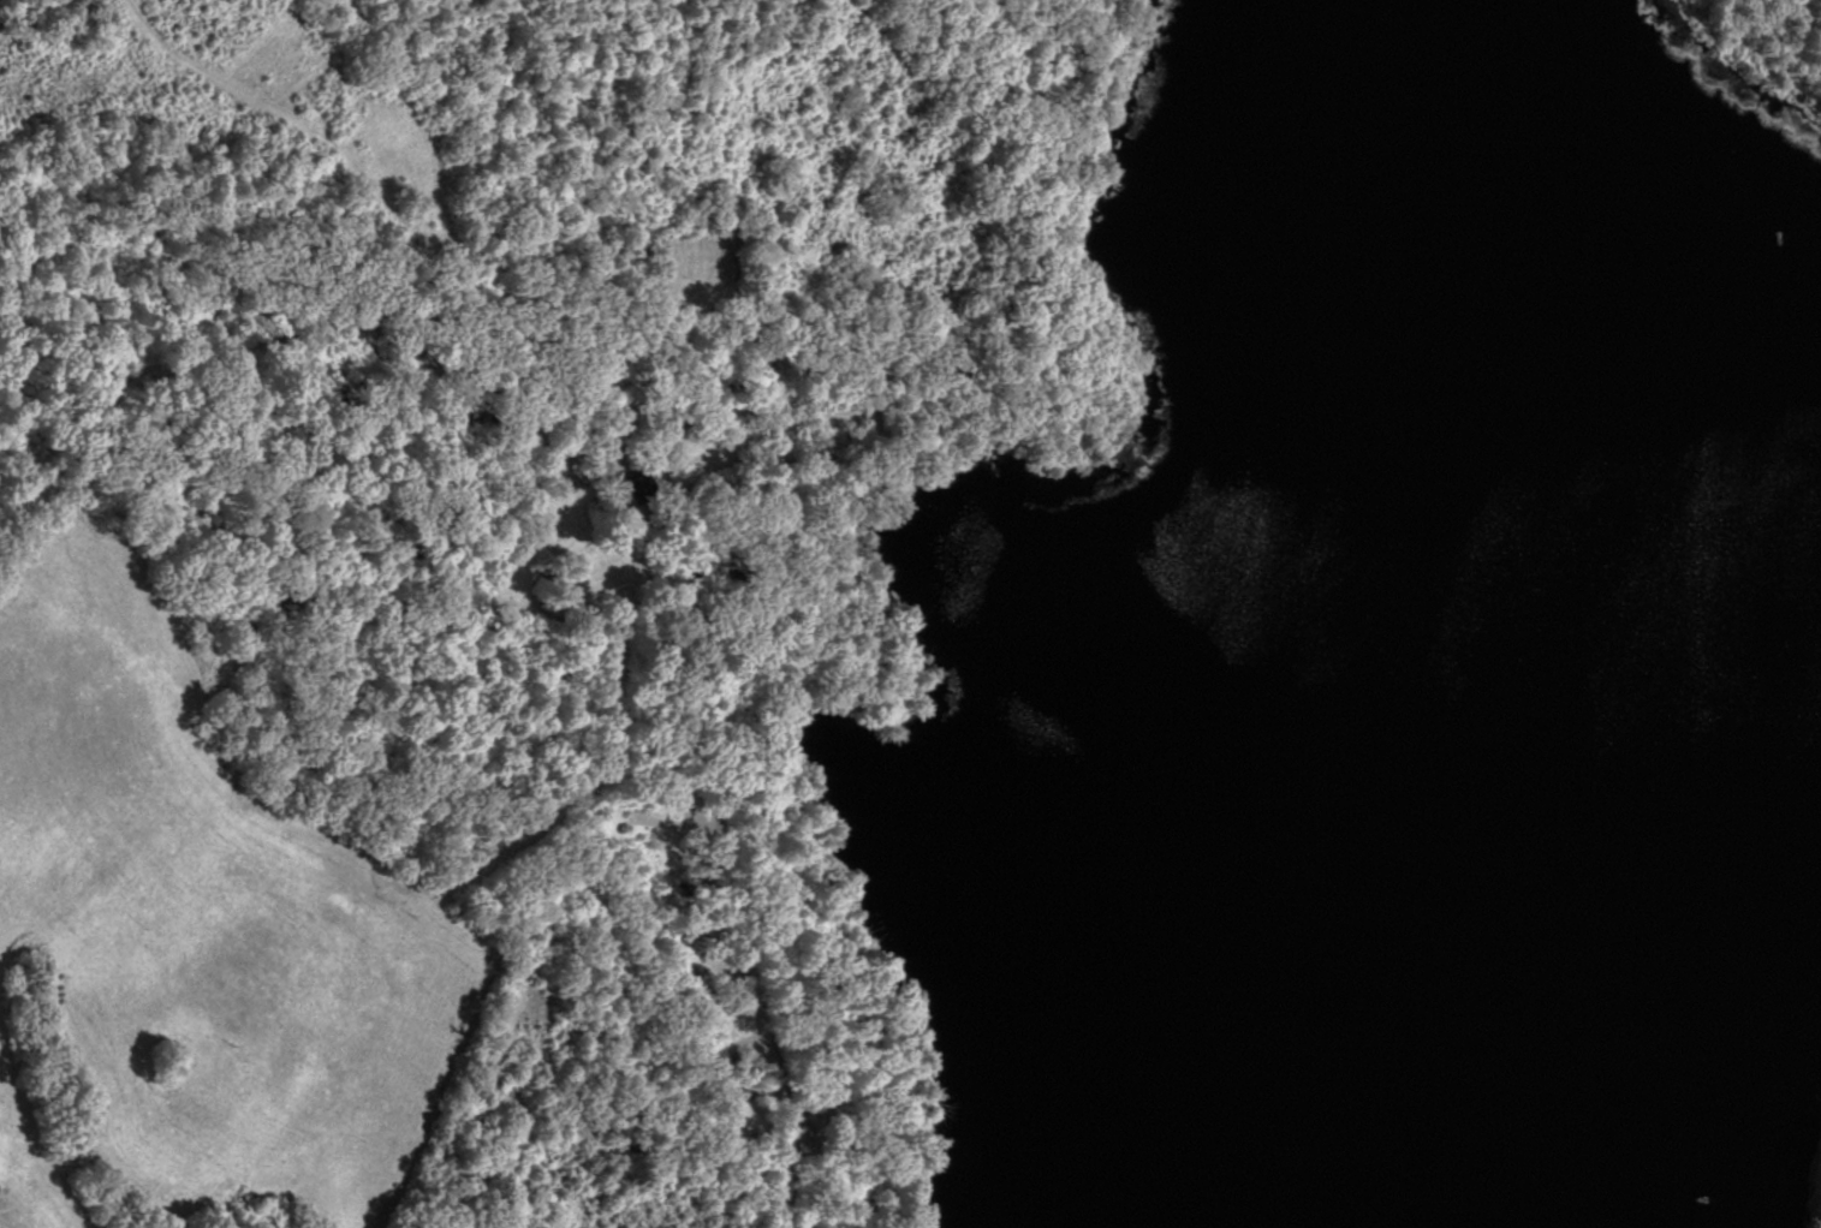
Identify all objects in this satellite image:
park: (698, 264)
road: (559, 365)
building: (644, 483)

